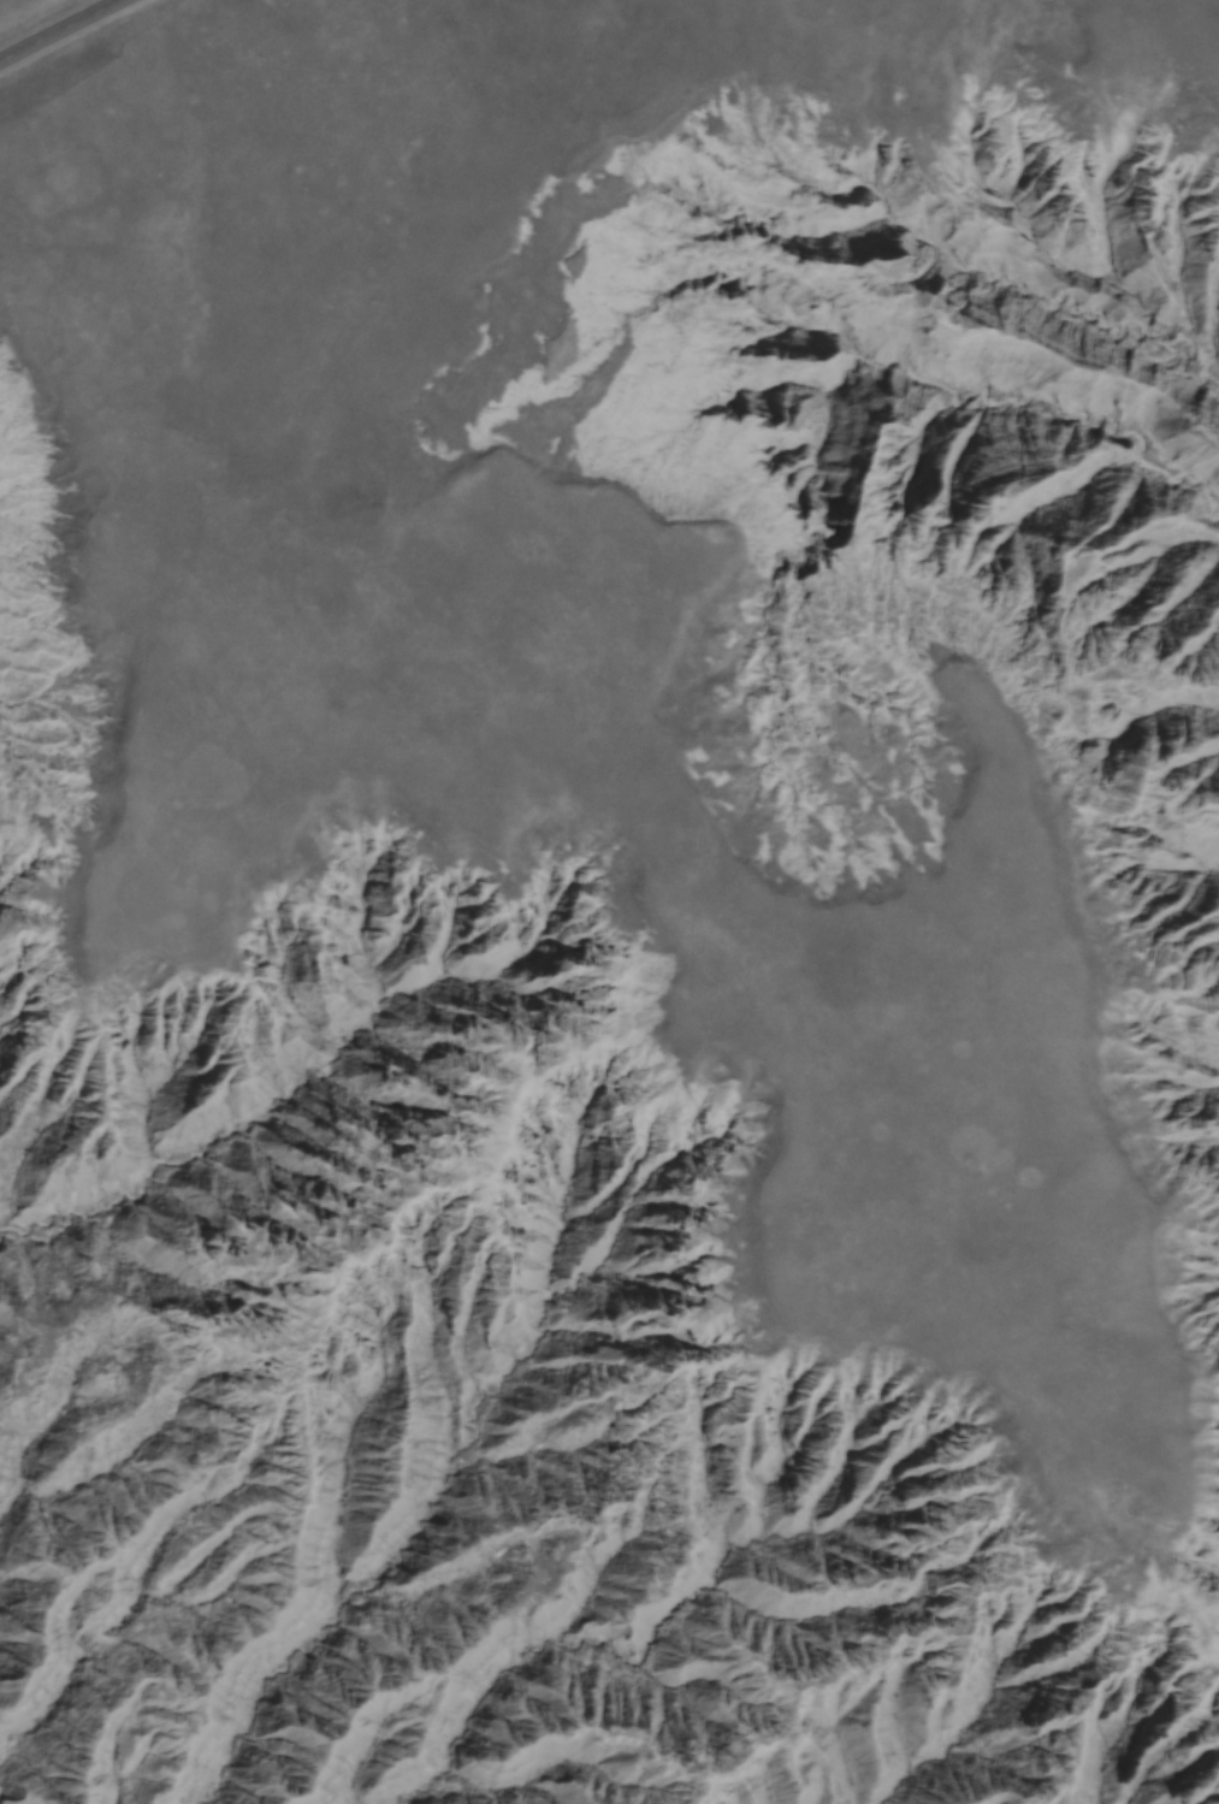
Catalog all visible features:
road: (57, 29)

